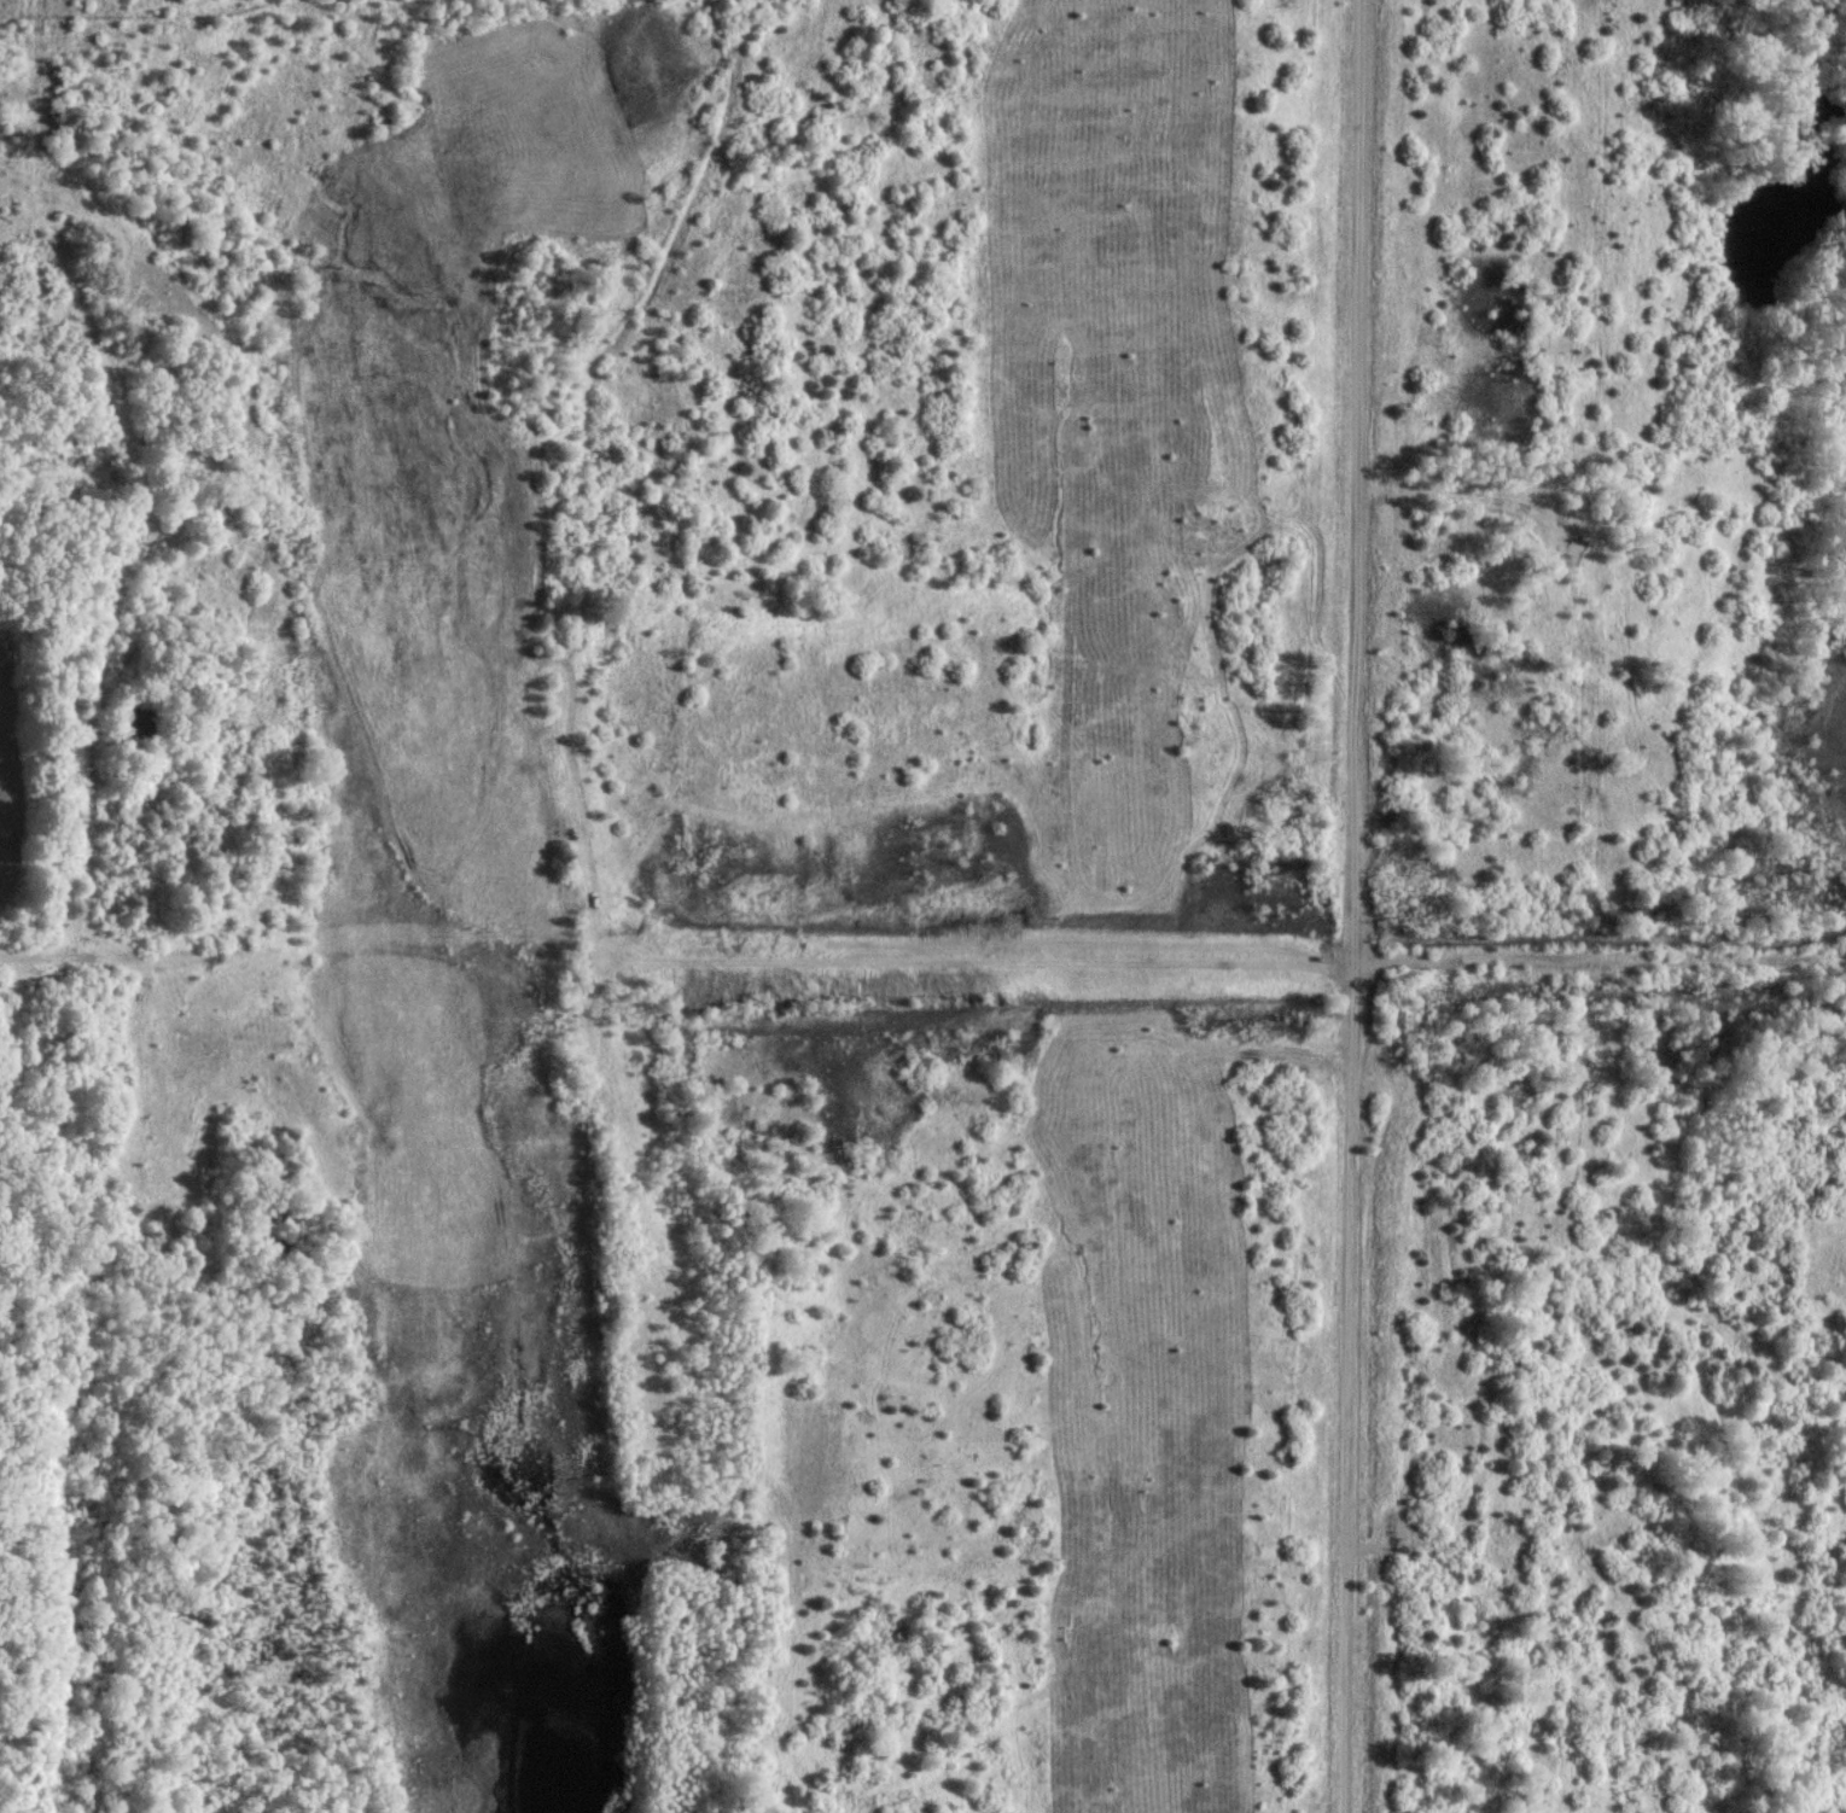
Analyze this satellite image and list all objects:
road: (1344, 905)
road: (1594, 972)

